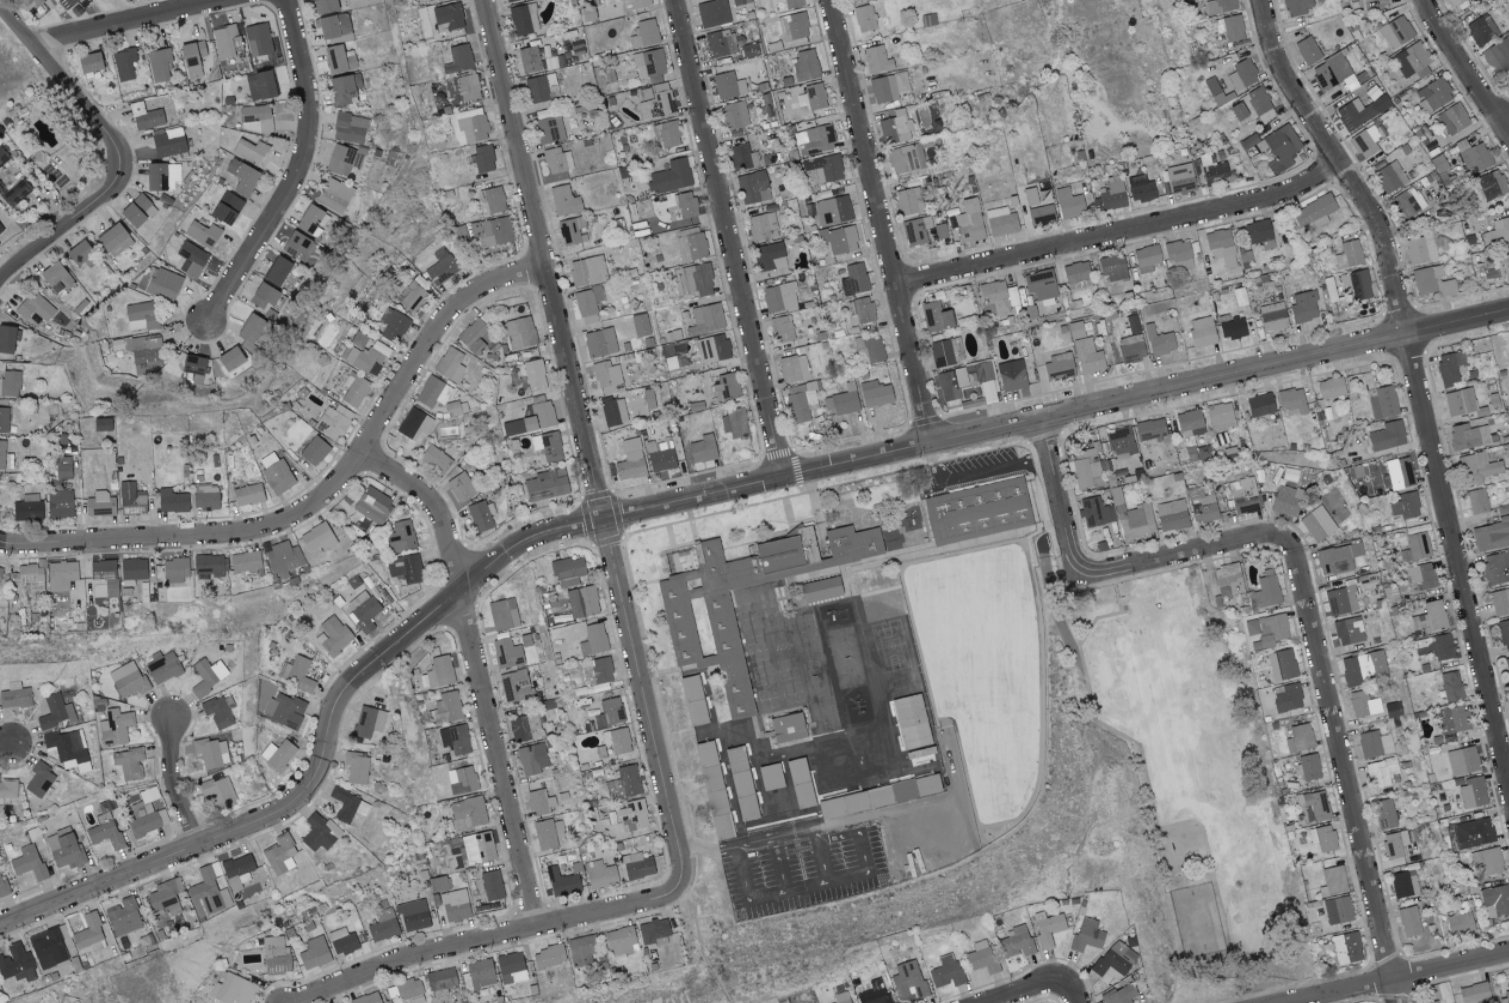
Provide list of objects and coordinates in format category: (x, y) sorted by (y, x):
building: (508, 0)
building: (739, 2)
building: (1454, 2)
building: (67, 3)
building: (792, 3)
building: (631, 5)
building: (1219, 5)
building: (324, 6)
building: (1297, 6)
building: (712, 12)
building: (447, 17)
building: (864, 18)
building: (524, 19)
road: (132, 23)
building: (333, 25)
building: (794, 25)
building: (1230, 27)
building: (1481, 29)
building: (1395, 31)
building: (647, 32)
building: (258, 39)
building: (226, 40)
building: (719, 43)
building: (748, 50)
building: (1307, 50)
building: (1497, 56)
building: (192, 58)
building: (338, 59)
building: (458, 59)
building: (529, 59)
building: (876, 59)
building: (89, 62)
building: (1412, 62)
building: (123, 63)
building: (159, 65)
building: (805, 65)
building: (649, 66)
road: (1466, 68)
building: (1330, 72)
building: (1242, 74)
building: (260, 84)
building: (888, 86)
building: (468, 87)
building: (344, 88)
building: (1434, 94)
building: (814, 96)
building: (1250, 105)
road: (1502, 112)
building: (1354, 113)
building: (733, 115)
building: (145, 116)
building: (257, 116)
building: (1453, 118)
building: (249, 126)
building: (468, 126)
building: (349, 127)
building: (548, 127)
building: (896, 128)
building: (666, 133)
building: (1369, 138)
building: (815, 139)
building: (168, 143)
building: (1282, 144)
building: (250, 150)
road: (115, 152)
building: (1474, 155)
building: (740, 156)
building: (2, 157)
building: (905, 158)
building: (344, 159)
building: (482, 159)
building: (557, 159)
building: (824, 167)
building: (1212, 169)
building: (1395, 170)
road: (299, 171)
building: (161, 176)
building: (241, 176)
building: (670, 176)
building: (1180, 178)
building: (1491, 184)
building: (752, 187)
building: (1140, 188)
building: (15, 192)
building: (334, 195)
building: (564, 200)
building: (491, 201)
building: (908, 201)
building: (1069, 203)
building: (1406, 203)
building: (683, 204)
building: (226, 208)
building: (833, 210)
building: (137, 211)
building: (1314, 211)
building: (1040, 214)
building: (310, 219)
road: (878, 221)
building: (969, 221)
building: (1001, 221)
building: (762, 226)
building: (1, 228)
building: (572, 230)
building: (916, 230)
building: (940, 231)
road: (1118, 231)
building: (1257, 231)
building: (492, 232)
building: (1497, 232)
building: (203, 233)
road: (728, 238)
building: (112, 239)
building: (839, 239)
building: (690, 246)
building: (1220, 246)
building: (299, 247)
building: (1421, 249)
building: (1177, 250)
building: (78, 252)
building: (1349, 254)
building: (769, 256)
building: (1146, 258)
building: (1506, 258)
building: (191, 259)
building: (1113, 267)
building: (276, 271)
building: (587, 271)
building: (1076, 276)
building: (55, 277)
building: (854, 279)
building: (1433, 281)
building: (163, 284)
building: (1040, 284)
building: (1356, 284)
building: (999, 295)
building: (263, 296)
building: (411, 296)
building: (779, 297)
building: (588, 304)
building: (1303, 306)
building: (860, 311)
building: (936, 316)
building: (1272, 316)
building: (705, 319)
building: (1132, 323)
building: (392, 325)
building: (639, 325)
building: (1232, 327)
building: (251, 328)
building: (781, 328)
building: (1075, 330)
building: (519, 332)
building: (1202, 332)
building: (474, 337)
building: (8, 338)
building: (1159, 341)
building: (599, 342)
building: (713, 348)
building: (1131, 349)
building: (869, 350)
building: (142, 351)
building: (941, 353)
building: (1087, 356)
building: (366, 357)
building: (229, 359)
building: (449, 364)
building: (193, 366)
building: (1058, 366)
building: (1449, 367)
building: (793, 368)
building: (531, 374)
building: (1011, 375)
building: (606, 377)
building: (966, 381)
building: (9, 383)
road: (1416, 383)
building: (352, 387)
building: (725, 387)
building: (1331, 387)
building: (431, 392)
building: (875, 393)
road: (1145, 394)
building: (648, 398)
building: (842, 401)
building: (1292, 401)
building: (1459, 401)
building: (798, 402)
building: (1382, 402)
building: (1260, 405)
building: (612, 410)
building: (538, 416)
building: (1219, 417)
building: (3, 420)
building: (332, 421)
building: (733, 422)
building: (1189, 423)
building: (413, 424)
building: (512, 427)
building: (1150, 429)
building: (1387, 436)
road: (584, 441)
building: (1120, 442)
building: (547, 445)
building: (702, 449)
building: (314, 450)
building: (2, 454)
building: (660, 455)
building: (435, 459)
building: (630, 460)
building: (63, 467)
building: (1087, 467)
building: (1477, 468)
building: (1400, 470)
building: (276, 473)
road: (972, 474)
building: (1385, 481)
building: (545, 485)
building: (461, 487)
building: (247, 492)
building: (1243, 496)
building: (1285, 498)
building: (131, 499)
road: (322, 499)
road: (1058, 499)
building: (171, 500)
building: (205, 500)
building: (1477, 501)
building: (59, 503)
building: (99, 504)
road: (432, 504)
building: (1201, 504)
building: (373, 505)
building: (1405, 505)
building: (27, 507)
building: (1095, 512)
building: (481, 515)
building: (982, 515)
building: (1171, 515)
building: (1136, 521)
building: (1317, 526)
building: (1492, 535)
building: (400, 536)
building: (318, 537)
building: (1416, 547)
road: (1180, 556)
building: (1338, 558)
building: (283, 559)
building: (245, 561)
building: (208, 565)
building: (1496, 567)
building: (404, 568)
building: (175, 569)
building: (0, 570)
building: (132, 570)
building: (567, 571)
building: (61, 575)
building: (105, 575)
building: (32, 576)
building: (1421, 576)
building: (1228, 579)
building: (1266, 592)
building: (582, 601)
building: (1340, 601)
building: (1500, 601)
building: (364, 614)
building: (503, 614)
building: (1429, 618)
building: (1267, 629)
building: (1348, 631)
building: (1504, 631)
building: (333, 635)
building: (593, 640)
building: (708, 646)
building: (1435, 647)
building: (506, 653)
building: (1285, 664)
building: (162, 667)
building: (1507, 667)
building: (1363, 668)
building: (597, 670)
building: (295, 673)
road: (364, 673)
building: (433, 674)
building: (207, 675)
building: (130, 681)
building: (514, 686)
building: (1451, 686)
building: (14, 695)
building: (1288, 696)
building: (701, 703)
building: (1363, 704)
building: (448, 707)
building: (284, 710)
building: (55, 712)
building: (217, 712)
building: (608, 714)
building: (1452, 720)
building: (911, 721)
building: (368, 722)
building: (115, 727)
building: (525, 728)
building: (793, 733)
building: (1299, 738)
building: (455, 739)
building: (619, 741)
building: (1374, 744)
road: (7, 745)
building: (68, 749)
building: (212, 752)
building: (277, 755)
building: (921, 755)
building: (532, 758)
road: (497, 759)
building: (1462, 761)
building: (128, 763)
building: (1307, 767)
building: (356, 768)
building: (1438, 769)
road: (1342, 771)
building: (796, 772)
building: (1381, 772)
building: (39, 780)
building: (462, 781)
building: (624, 782)
road: (174, 783)
park: (1187, 786)
building: (8, 788)
building: (217, 791)
building: (1472, 793)
building: (739, 794)
building: (879, 796)
building: (539, 802)
building: (1313, 806)
building: (349, 807)
building: (468, 813)
building: (146, 814)
building: (1384, 814)
building: (633, 815)
road: (1153, 815)
building: (320, 833)
building: (1470, 833)
building: (544, 834)
building: (1323, 838)
building: (478, 847)
road: (706, 847)
building: (65, 849)
building: (1393, 849)
building: (280, 855)
road: (822, 861)
building: (1487, 861)
building: (28, 863)
road: (780, 864)
building: (637, 866)
building: (237, 871)
road: (868, 871)
building: (600, 874)
building: (1333, 881)
building: (561, 882)
building: (491, 885)
building: (1403, 885)
building: (4, 887)
building: (209, 891)
building: (164, 894)
building: (1495, 900)
building: (452, 906)
building: (1336, 910)
building: (123, 917)
building: (414, 919)
building: (1409, 921)
park: (1195, 923)
building: (1459, 924)
building: (1047, 928)
building: (652, 931)
building: (90, 934)
building: (1086, 935)
road: (489, 939)
building: (342, 941)
building: (621, 941)
building: (1017, 942)
building: (50, 948)
building: (1346, 948)
building: (581, 952)
building: (314, 953)
building: (275, 955)
building: (549, 956)
building: (981, 957)
building: (1113, 959)
building: (16, 964)
building: (511, 968)
building: (946, 971)
building: (480, 974)
road: (1402, 976)
building: (441, 979)
building: (908, 981)
road: (1033, 987)
building: (232, 990)
building: (410, 991)
building: (872, 993)
building: (1474, 993)
building: (1120, 994)
building: (1504, 997)
building: (841, 998)
building: (366, 999)
building: (1430, 1001)

